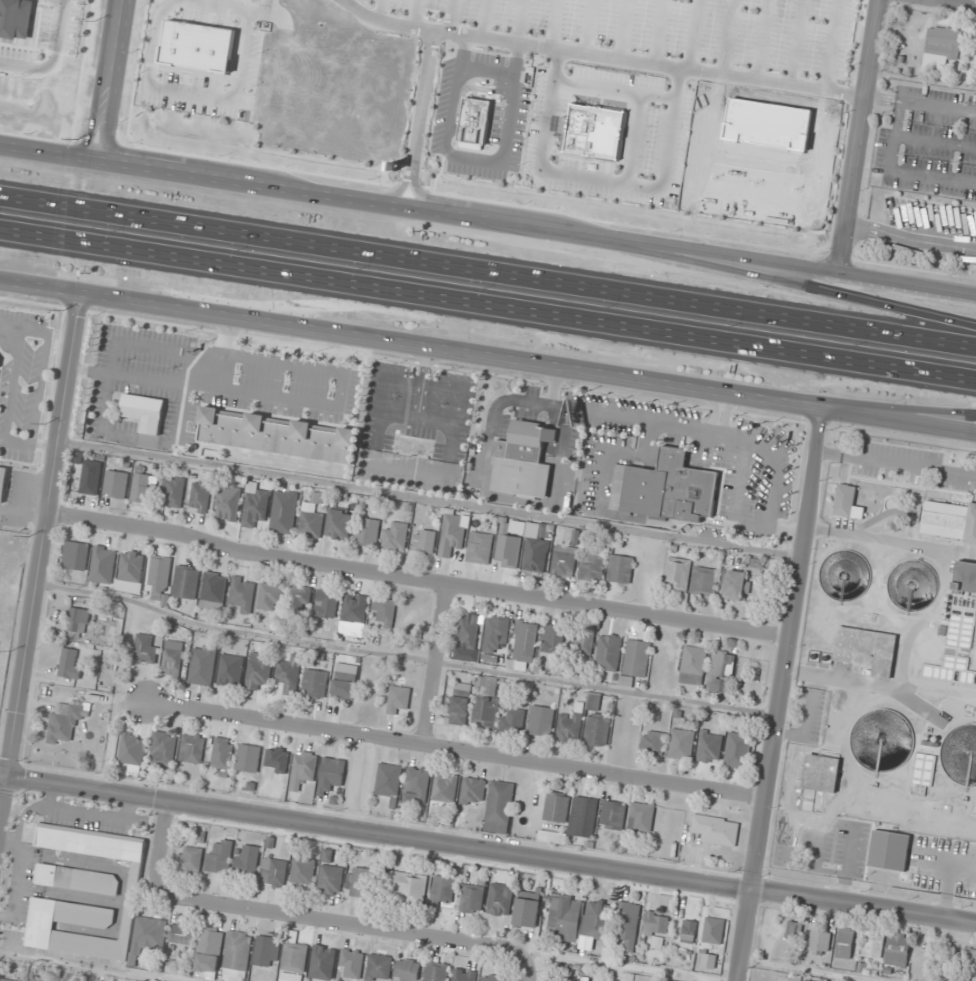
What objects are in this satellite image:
road: (346, 1)
road: (960, 2)
road: (256, 8)
road: (379, 10)
road: (414, 13)
road: (449, 15)
road: (484, 18)
building: (15, 19)
road: (519, 21)
road: (553, 23)
road: (589, 26)
road: (624, 29)
road: (658, 31)
building: (743, 32)
road: (692, 34)
road: (726, 37)
road: (761, 39)
building: (191, 42)
road: (795, 42)
road: (830, 45)
building: (942, 46)
road: (601, 55)
road: (53, 58)
building: (654, 59)
road: (485, 67)
building: (788, 71)
road: (107, 80)
road: (595, 84)
road: (203, 93)
building: (777, 117)
road: (418, 118)
building: (473, 121)
building: (588, 128)
road: (860, 136)
road: (540, 148)
road: (472, 158)
road: (640, 183)
road: (488, 219)
road: (488, 270)
road: (784, 282)
road: (41, 286)
road: (487, 308)
road: (408, 344)
road: (896, 409)
building: (145, 412)
road: (896, 419)
building: (279, 435)
building: (416, 446)
building: (524, 460)
building: (91, 477)
building: (4, 482)
building: (117, 484)
building: (141, 488)
building: (667, 489)
building: (174, 491)
building: (201, 496)
building: (229, 503)
building: (848, 503)
building: (256, 505)
building: (284, 512)
building: (313, 516)
building: (949, 521)
building: (340, 524)
building: (368, 532)
building: (396, 536)
building: (454, 536)
road: (889, 539)
building: (425, 541)
building: (480, 548)
building: (509, 551)
road: (39, 554)
building: (537, 555)
building: (76, 556)
building: (565, 561)
building: (594, 562)
building: (103, 564)
building: (621, 569)
building: (131, 571)
building: (678, 574)
building: (835, 576)
building: (161, 578)
road: (416, 578)
building: (706, 581)
building: (187, 582)
building: (734, 585)
building: (899, 585)
building: (214, 587)
building: (244, 594)
building: (271, 596)
building: (300, 599)
building: (326, 604)
building: (355, 607)
building: (384, 609)
building: (78, 620)
building: (117, 626)
building: (470, 628)
building: (959, 630)
building: (496, 635)
building: (554, 639)
building: (526, 642)
building: (582, 642)
building: (145, 648)
road: (786, 648)
building: (867, 649)
building: (609, 652)
building: (173, 659)
building: (636, 661)
building: (70, 663)
road: (433, 663)
building: (203, 665)
building: (693, 665)
building: (259, 669)
building: (720, 669)
building: (230, 670)
building: (289, 673)
building: (315, 683)
building: (344, 686)
building: (399, 699)
building: (594, 702)
building: (460, 710)
building: (485, 713)
building: (513, 720)
building: (541, 720)
building: (67, 721)
building: (570, 725)
building: (598, 730)
building: (884, 740)
building: (652, 743)
building: (682, 744)
building: (709, 746)
building: (192, 748)
building: (738, 748)
building: (132, 749)
road: (455, 749)
building: (163, 750)
building: (222, 753)
building: (957, 755)
building: (248, 758)
building: (277, 759)
building: (927, 763)
building: (304, 765)
building: (822, 773)
building: (330, 775)
building: (389, 782)
building: (417, 785)
building: (445, 788)
building: (473, 791)
building: (499, 807)
building: (557, 807)
building: (613, 815)
building: (584, 817)
building: (641, 817)
building: (716, 829)
road: (375, 831)
building: (889, 850)
building: (220, 855)
building: (327, 856)
building: (247, 860)
building: (189, 861)
building: (303, 871)
building: (274, 872)
building: (135, 878)
building: (78, 879)
building: (330, 880)
building: (359, 882)
building: (408, 885)
building: (442, 891)
building: (472, 898)
building: (500, 900)
road: (863, 906)
building: (527, 912)
road: (298, 915)
building: (564, 919)
building: (597, 920)
building: (656, 922)
building: (627, 924)
building: (713, 930)
building: (793, 930)
building: (688, 931)
building: (150, 934)
building: (183, 934)
road: (743, 935)
building: (819, 940)
building: (844, 943)
building: (873, 944)
building: (898, 949)
building: (209, 951)
building: (237, 951)
building: (267, 951)
building: (294, 954)
building: (971, 958)
building: (323, 962)
building: (351, 963)
building: (379, 967)
road: (527, 968)
building: (407, 970)
building: (435, 971)
building: (463, 975)
building: (492, 978)
building: (50, 979)
building: (10, 980)
building: (37, 980)
building: (666, 980)
building: (806, 980)

